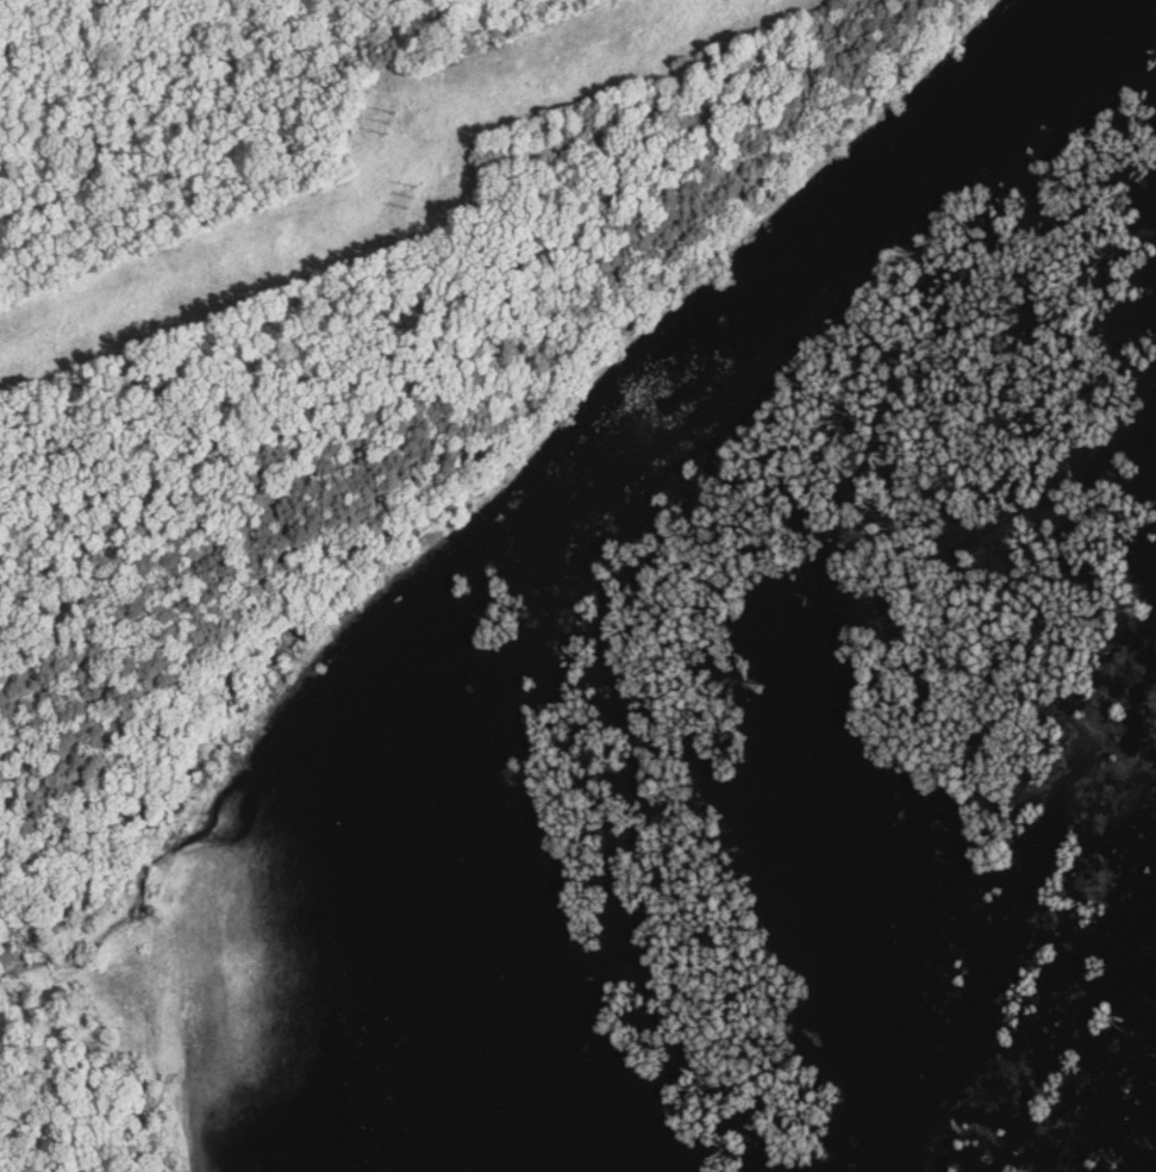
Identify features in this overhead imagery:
power tower: (380, 107)
power tower: (413, 186)

